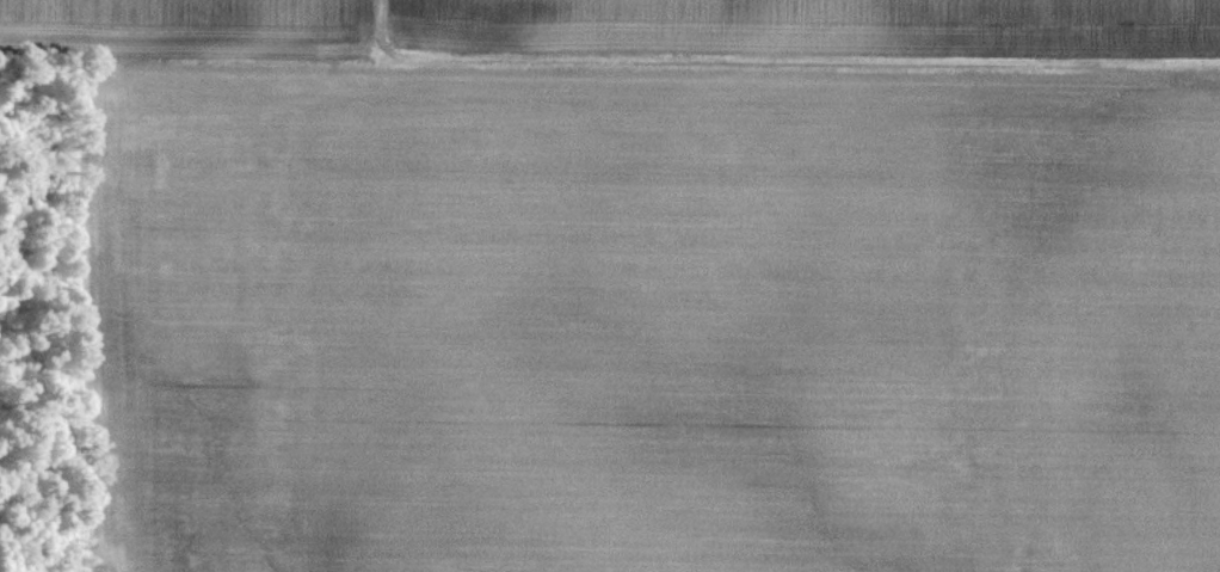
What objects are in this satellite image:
road: (777, 54)

